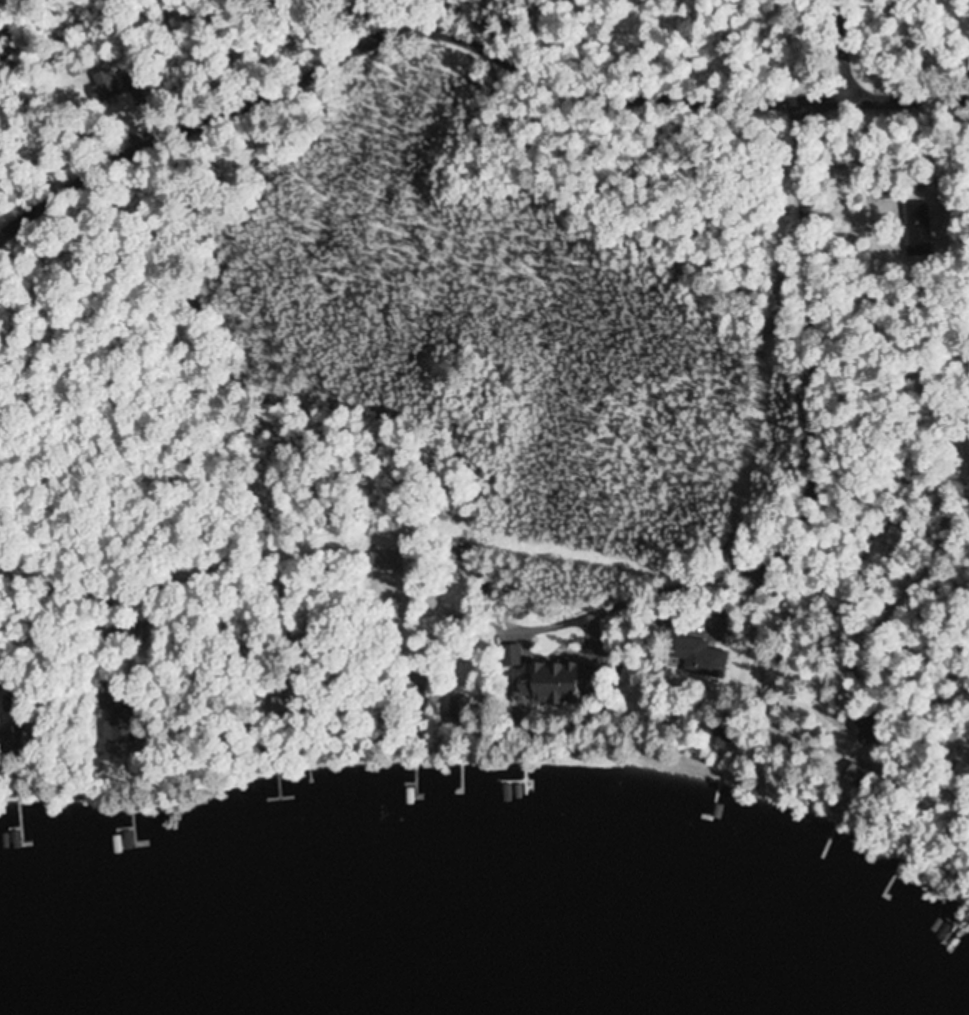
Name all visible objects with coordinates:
road: (384, 25)
road: (842, 48)
building: (108, 84)
road: (887, 97)
building: (919, 230)
road: (814, 338)
building: (393, 562)
building: (148, 632)
building: (698, 656)
building: (547, 682)
building: (123, 724)
building: (18, 732)
building: (956, 741)
building: (854, 774)
building: (958, 778)

